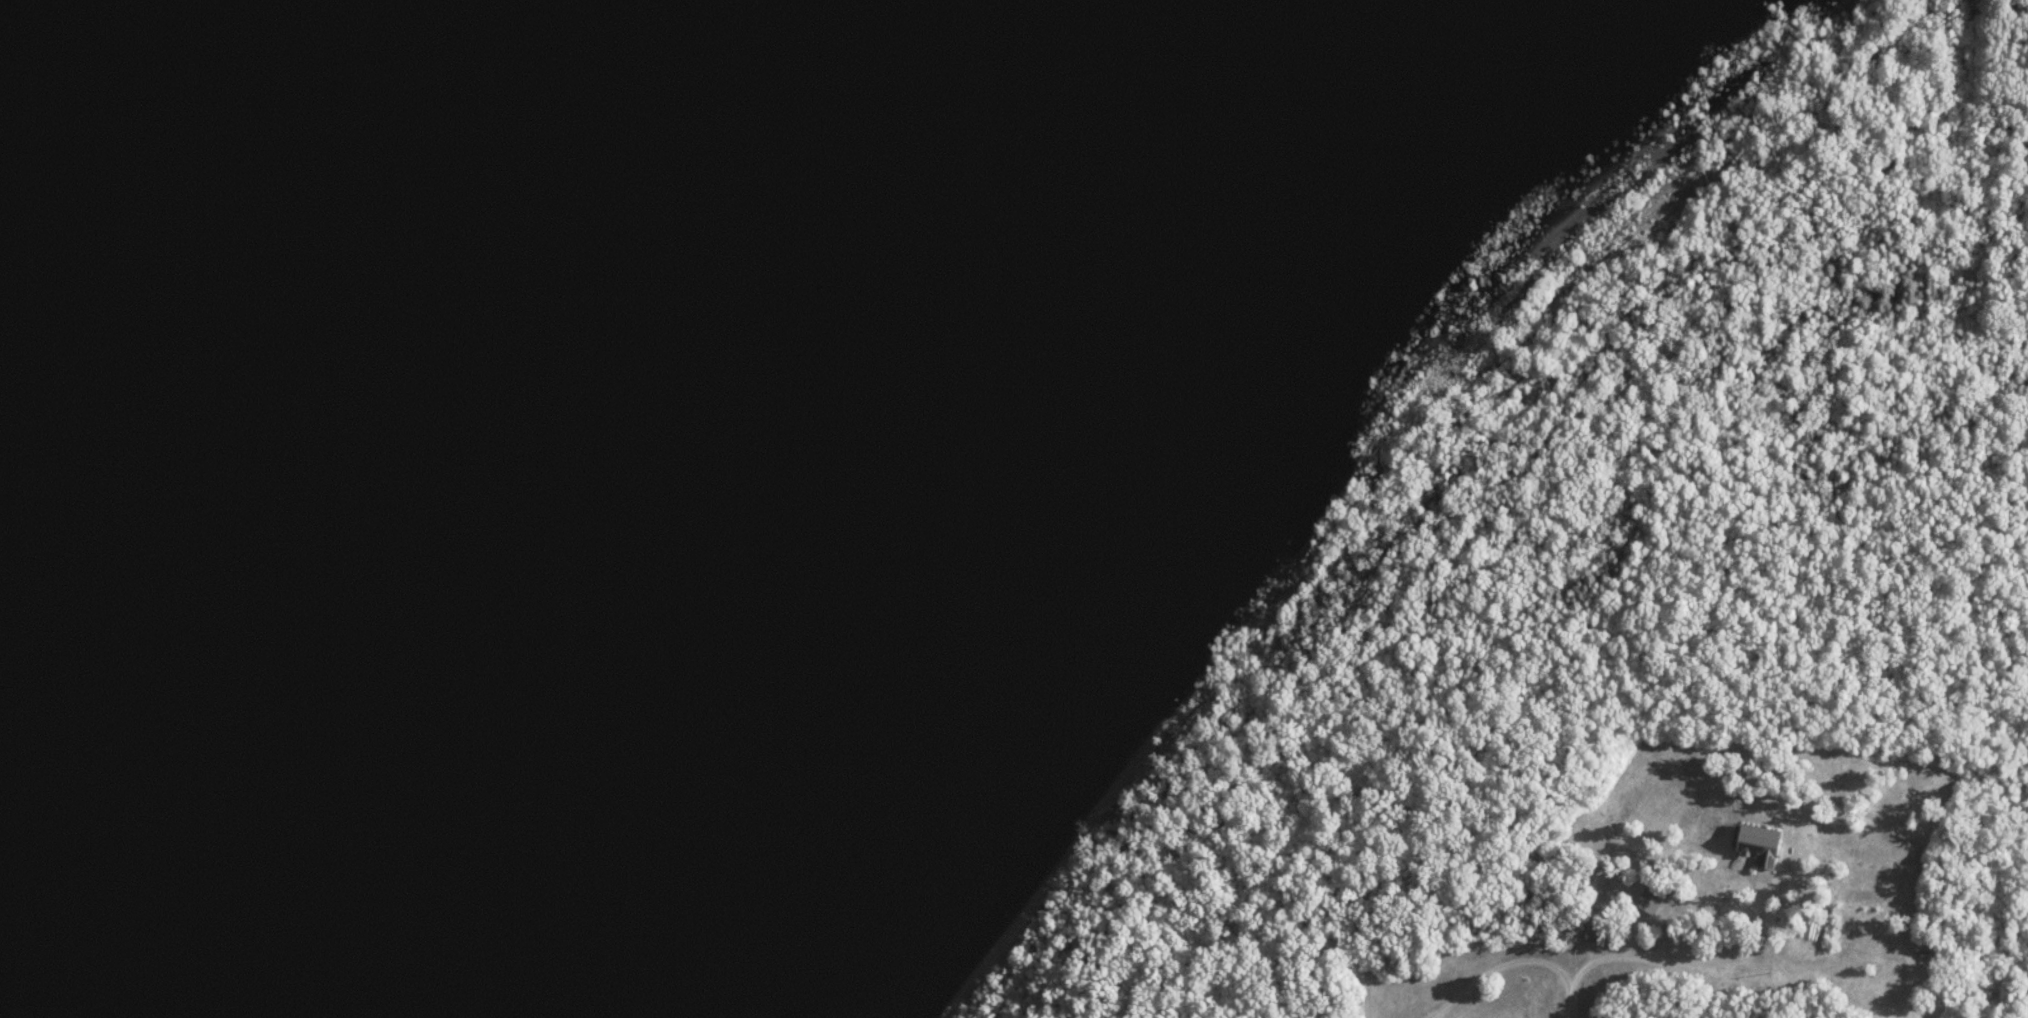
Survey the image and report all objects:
building: (1761, 844)
building: (1652, 899)
road: (1748, 920)
road: (1884, 946)
road: (1697, 964)
road: (1498, 970)
road: (1574, 998)

